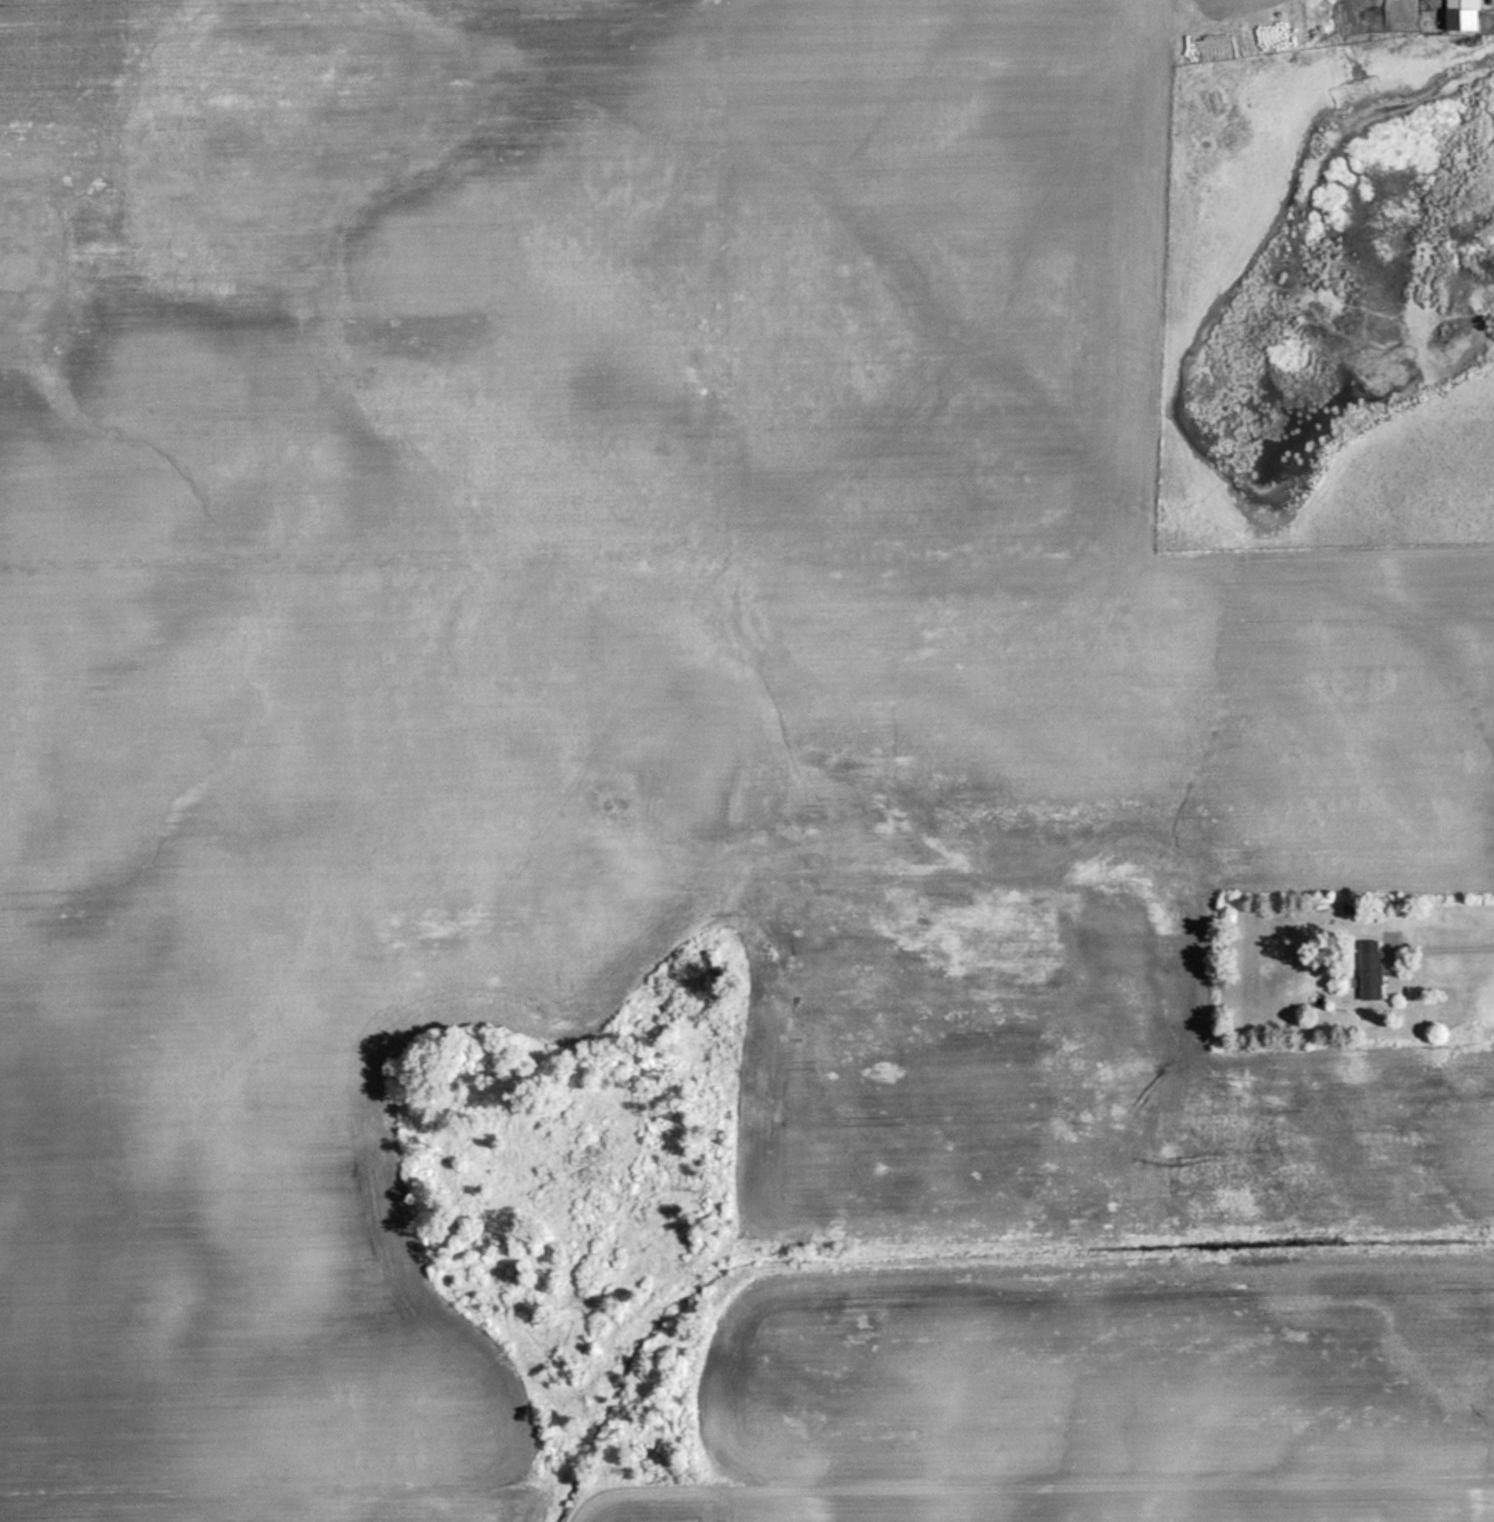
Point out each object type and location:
building: (1468, 4)
building: (1368, 976)

